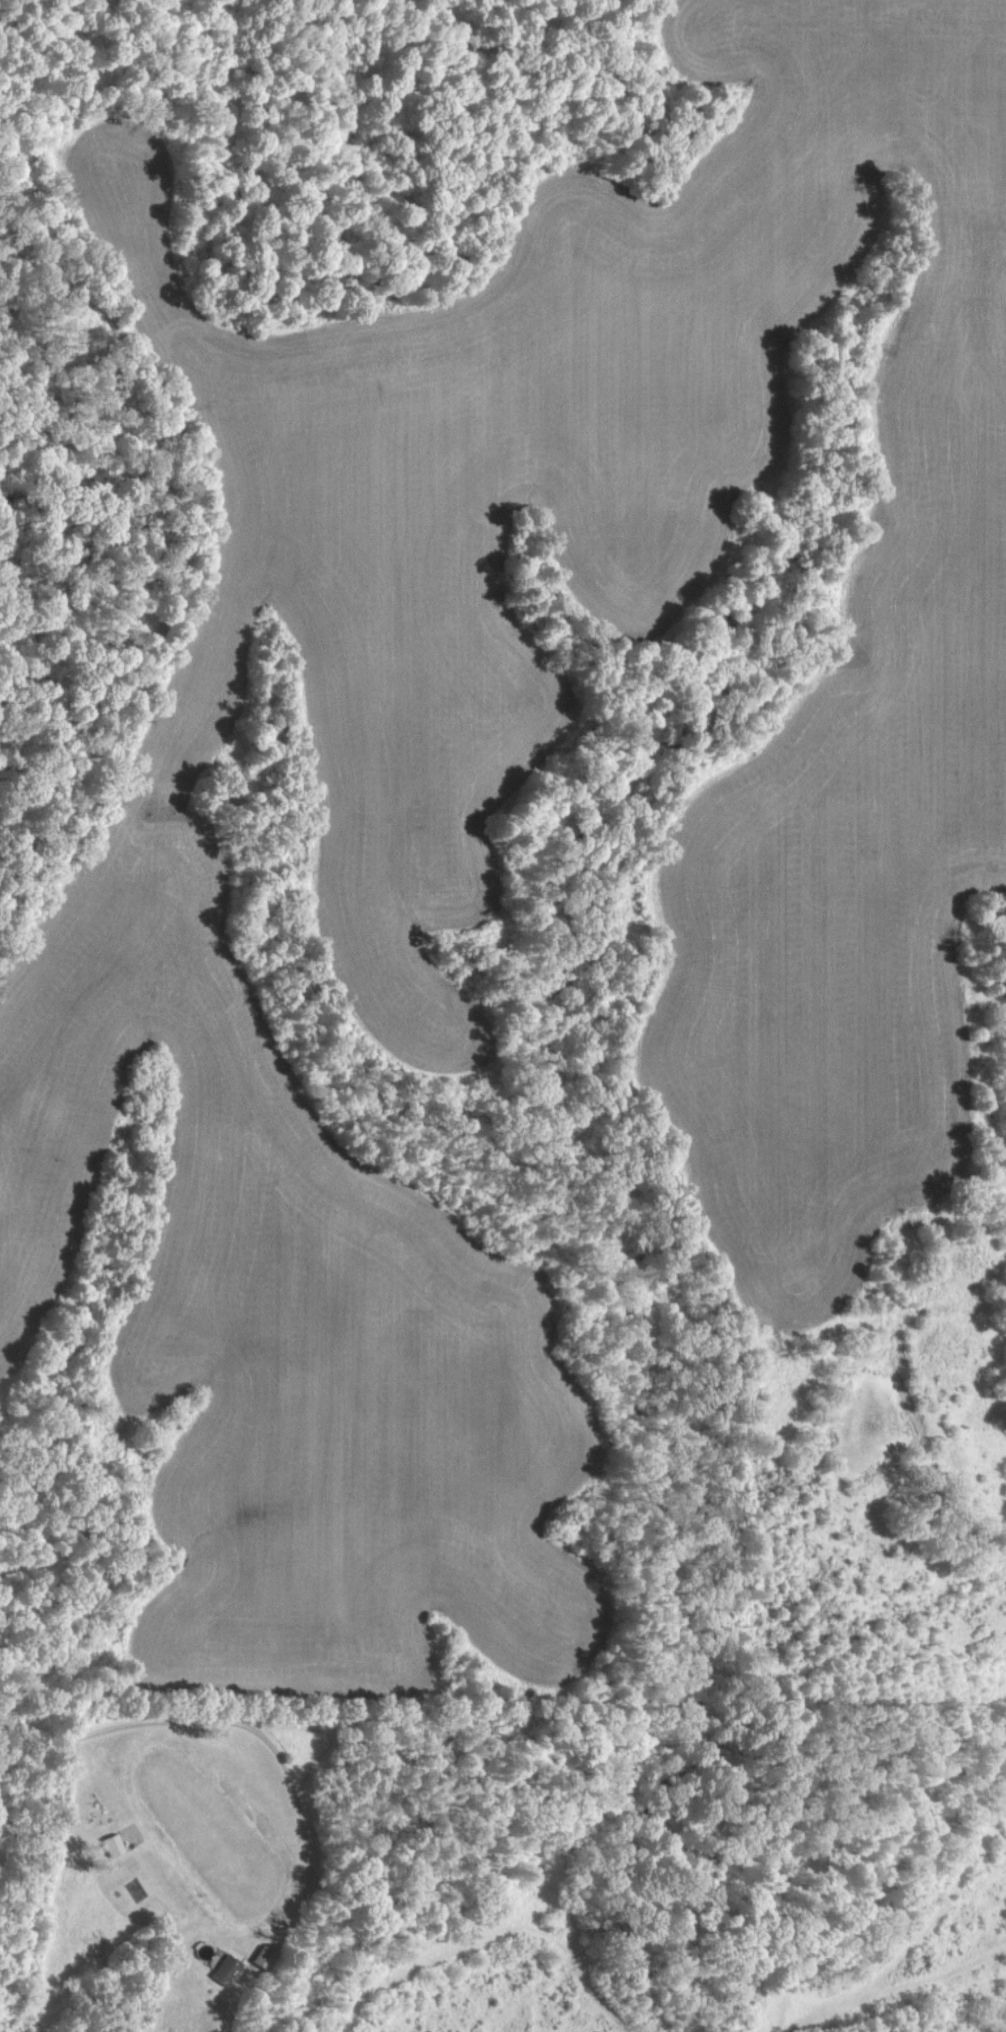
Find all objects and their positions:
road: (180, 507)
road: (241, 1722)
building: (111, 1844)
building: (261, 1956)
building: (225, 1970)

